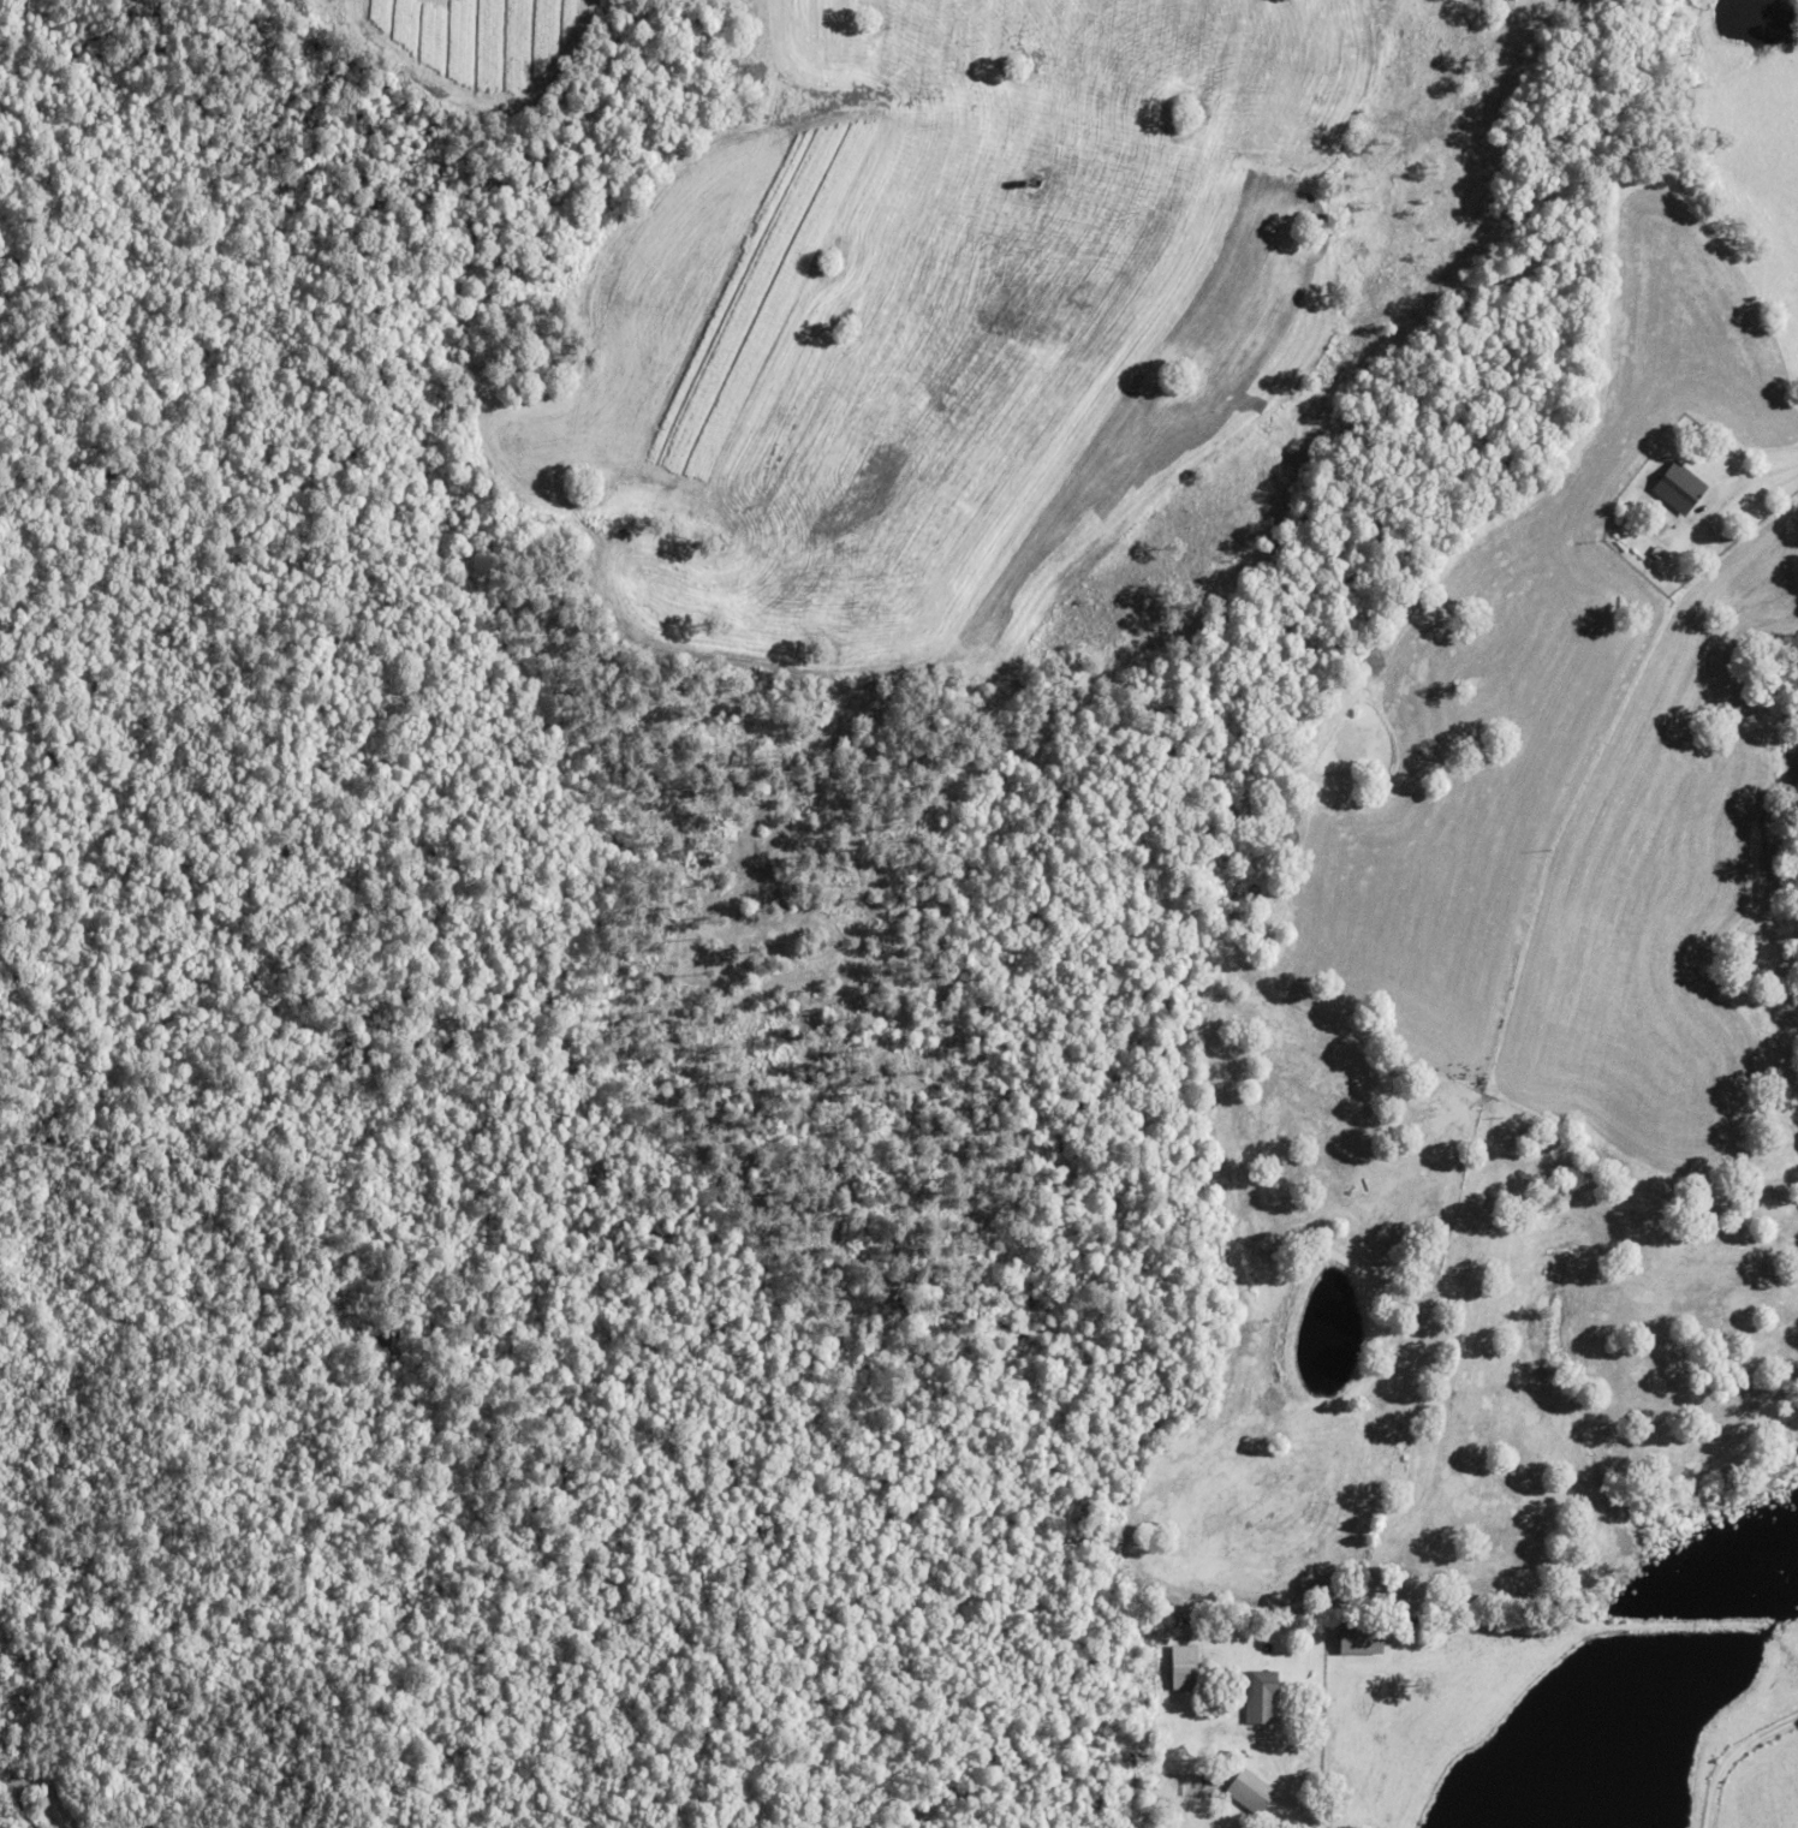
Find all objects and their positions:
building: (1678, 486)
building: (1184, 1666)
building: (1260, 1695)
building: (1250, 1791)

